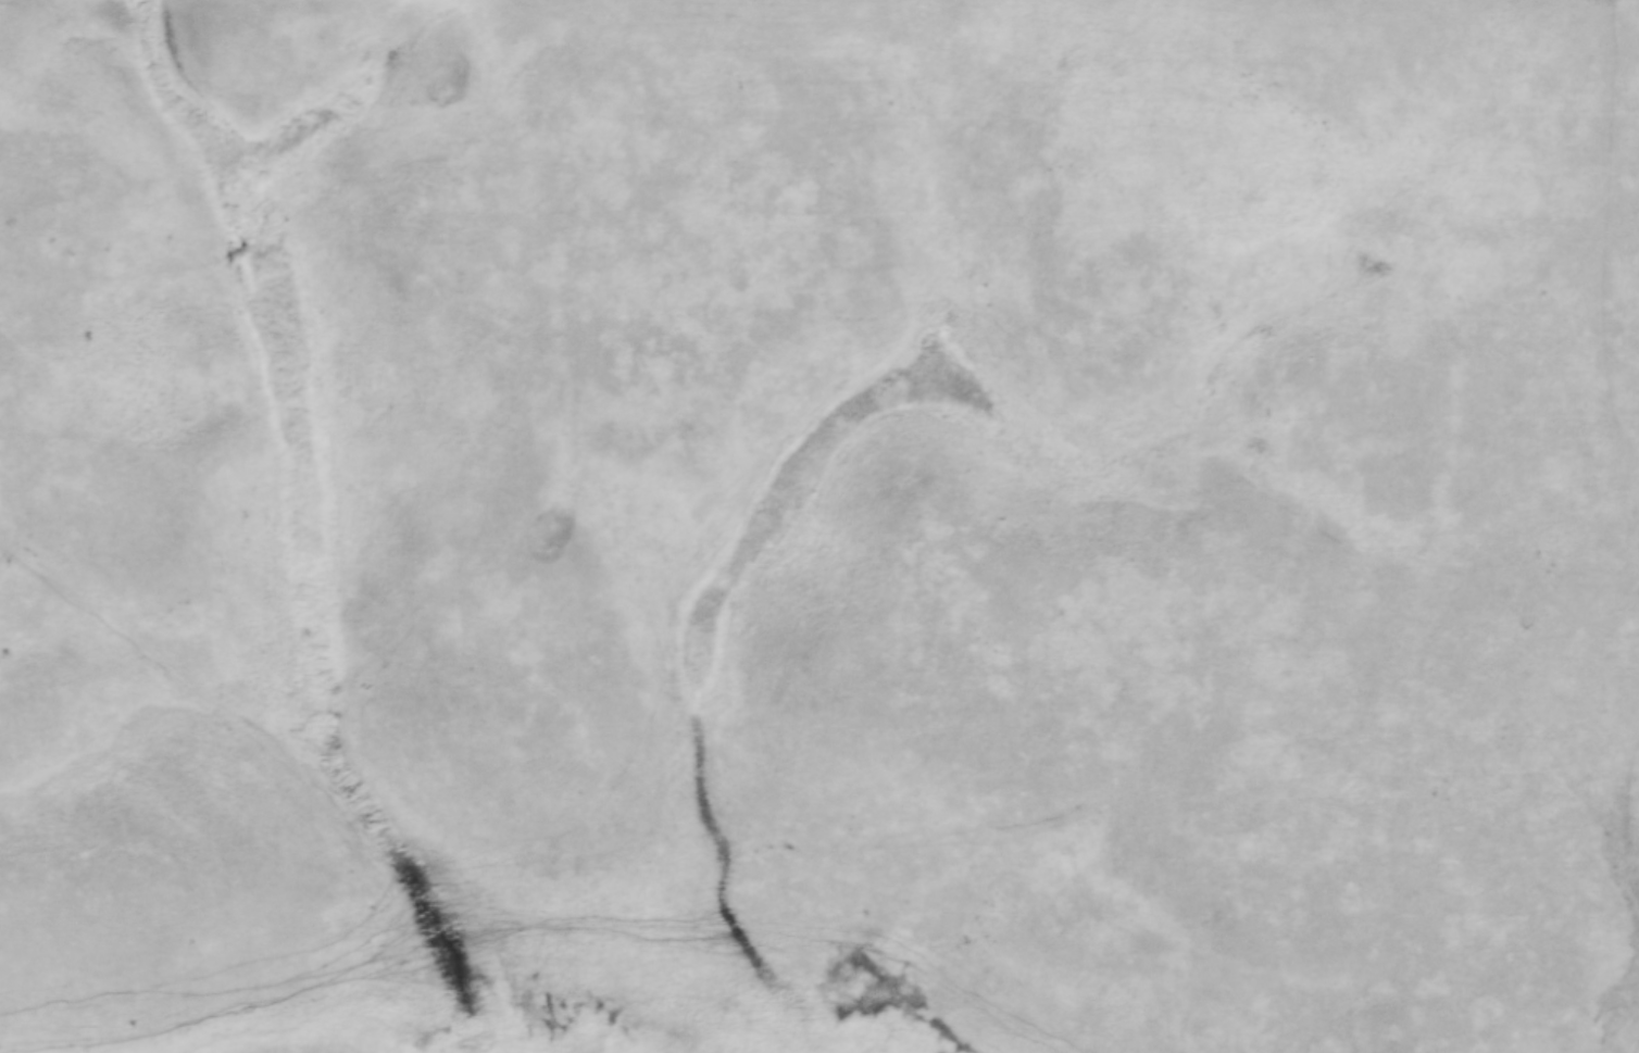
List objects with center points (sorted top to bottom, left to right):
road: (1628, 865)

